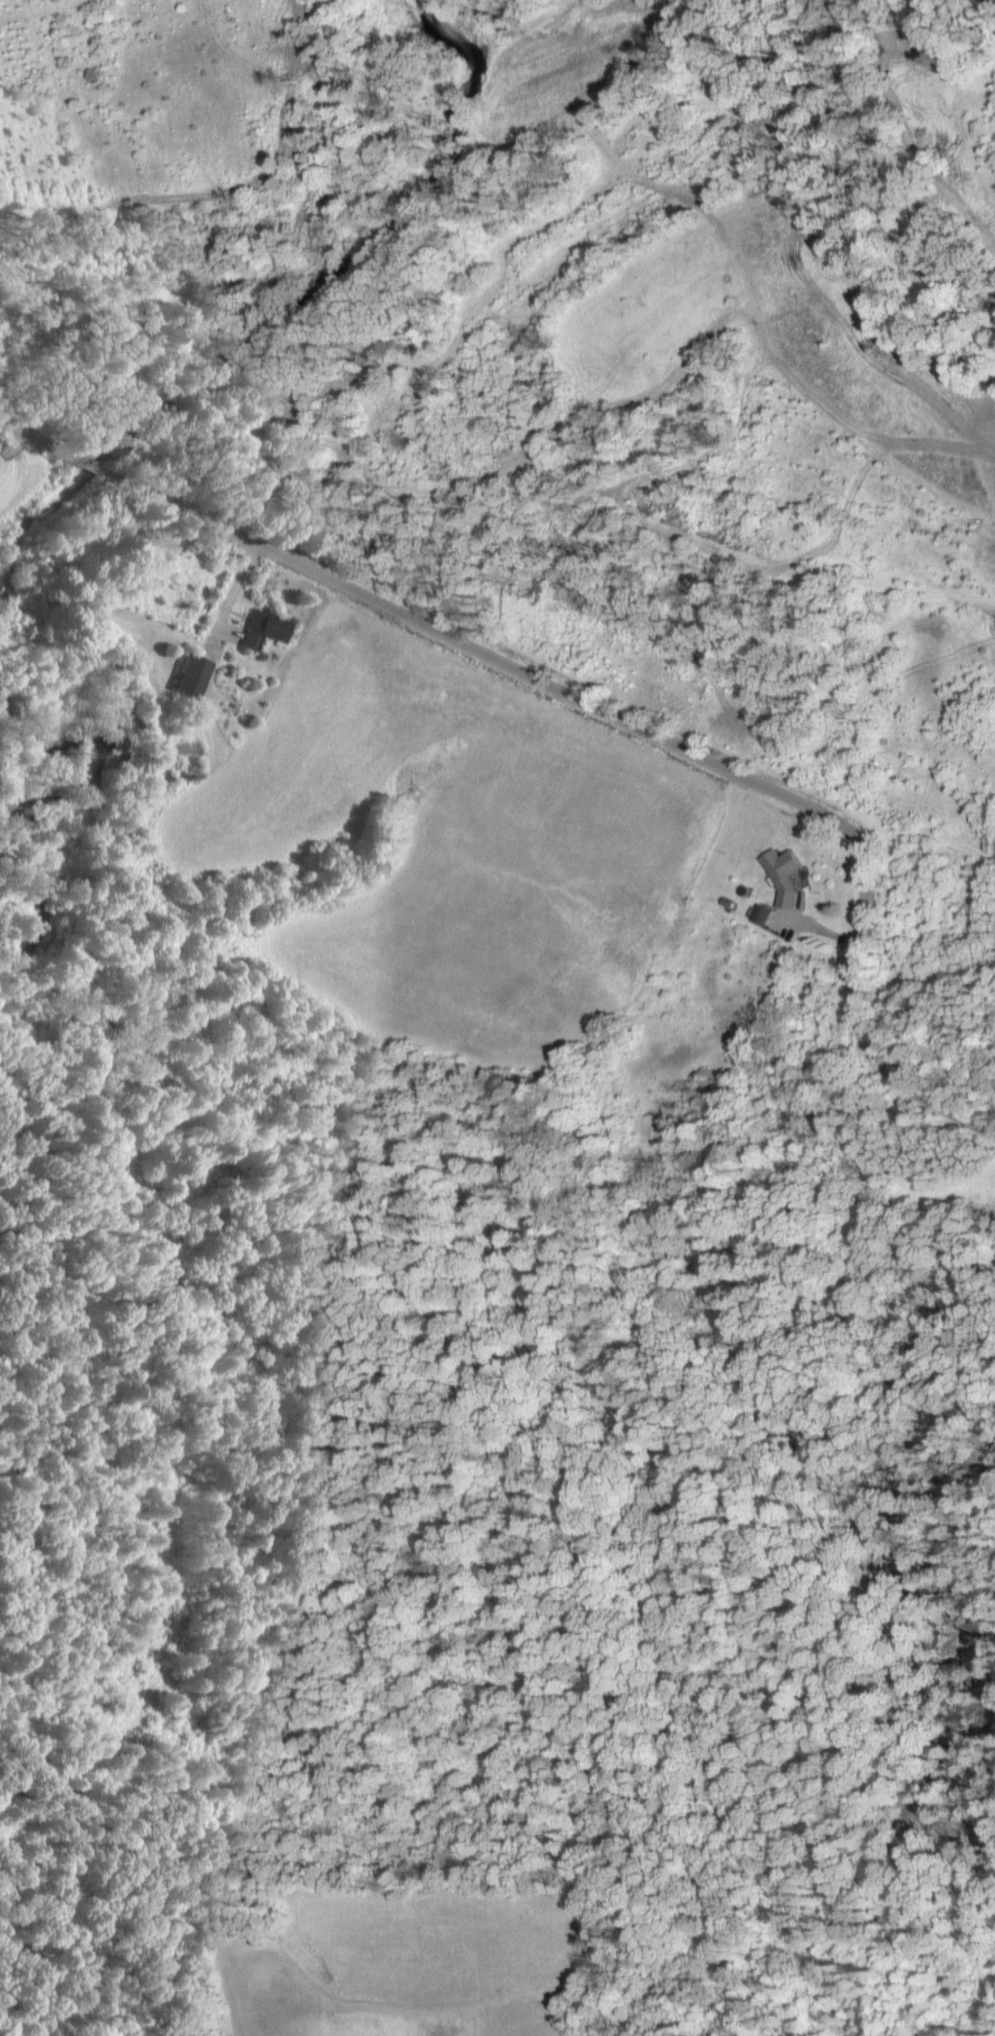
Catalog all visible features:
building: (270, 625)
building: (192, 674)
road: (593, 702)
building: (786, 875)

